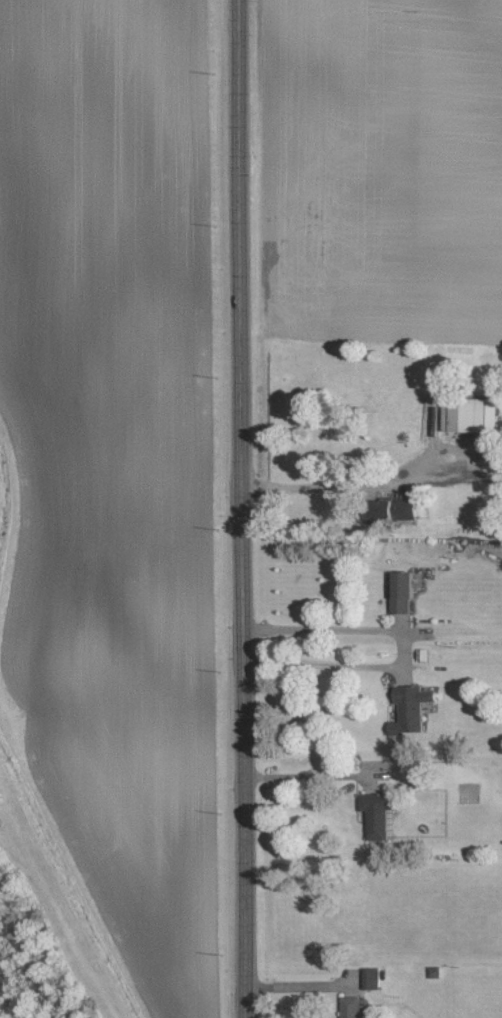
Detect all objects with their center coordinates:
building: (469, 415)
road: (315, 486)
road: (236, 509)
building: (389, 509)
building: (401, 592)
road: (405, 650)
building: (411, 705)
road: (305, 779)
building: (376, 814)
building: (371, 978)
road: (298, 989)
building: (353, 1007)

